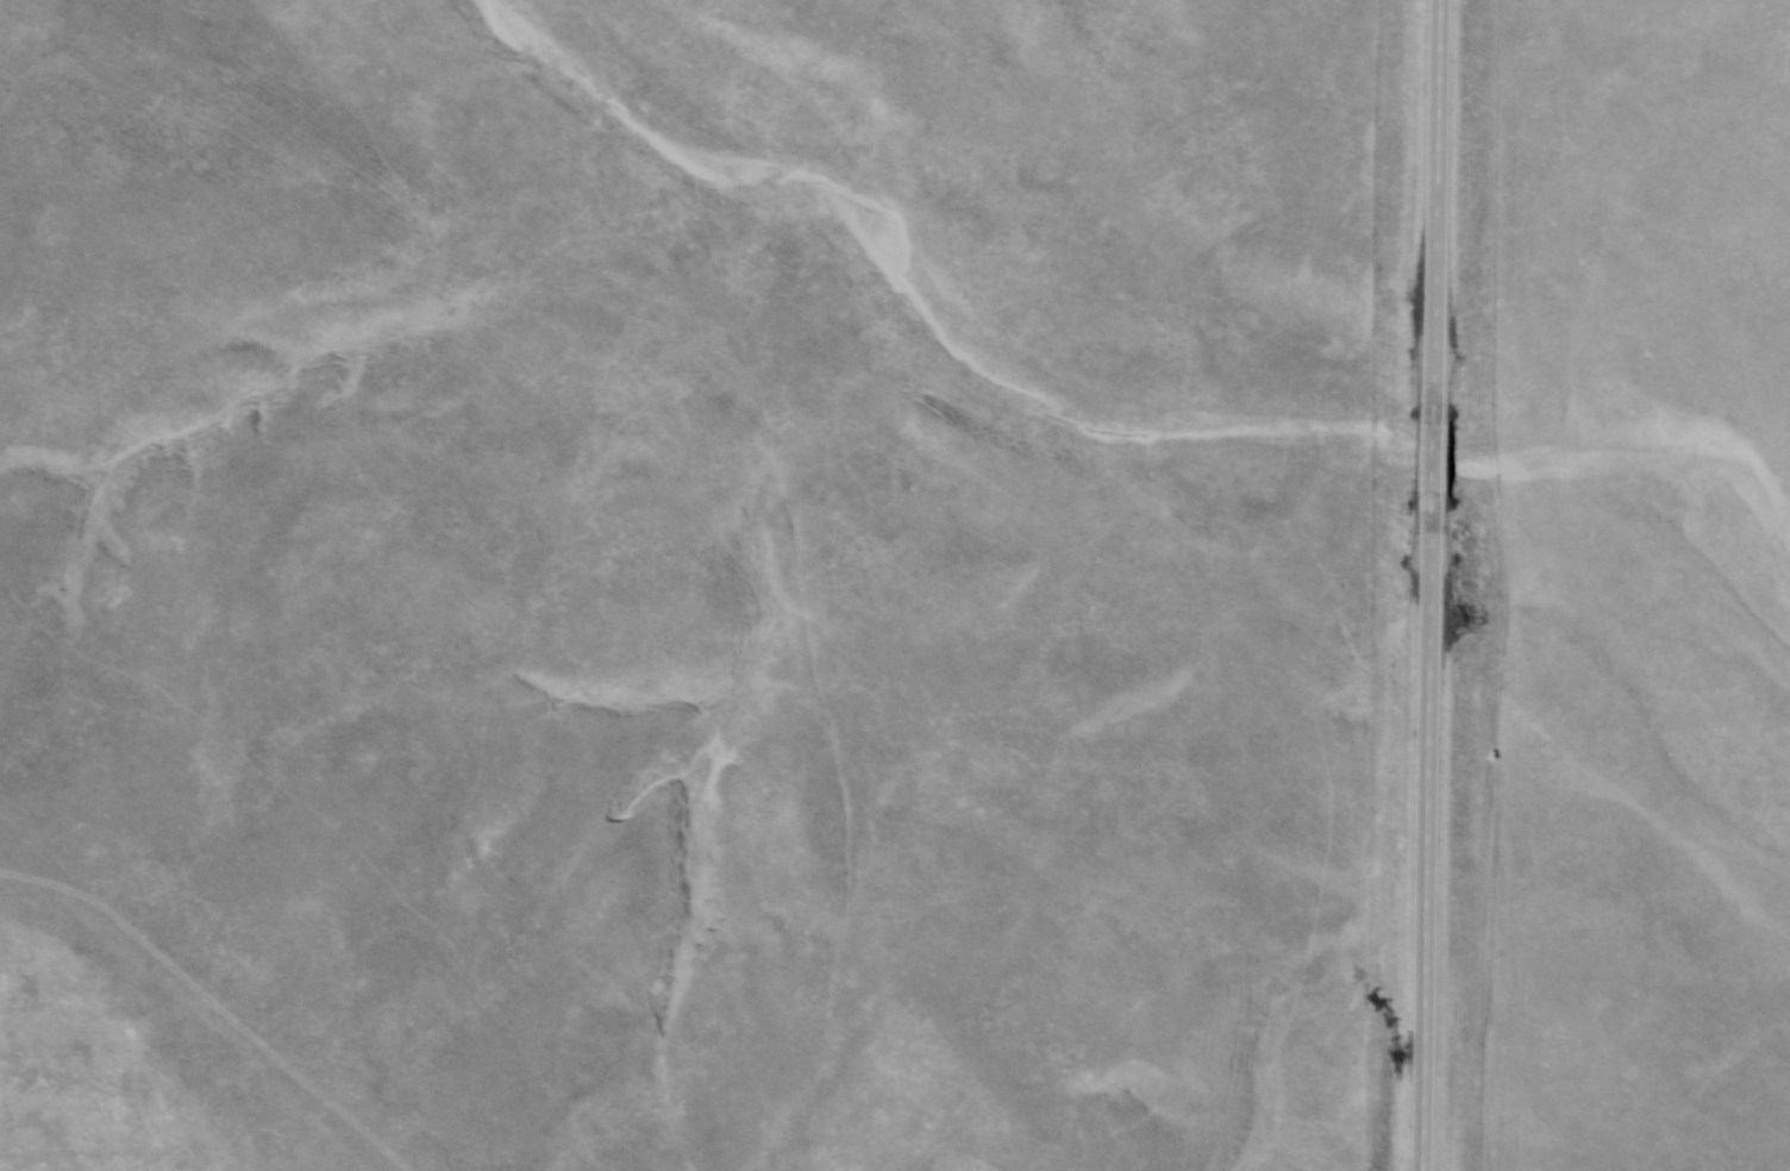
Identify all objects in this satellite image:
road: (1428, 585)

